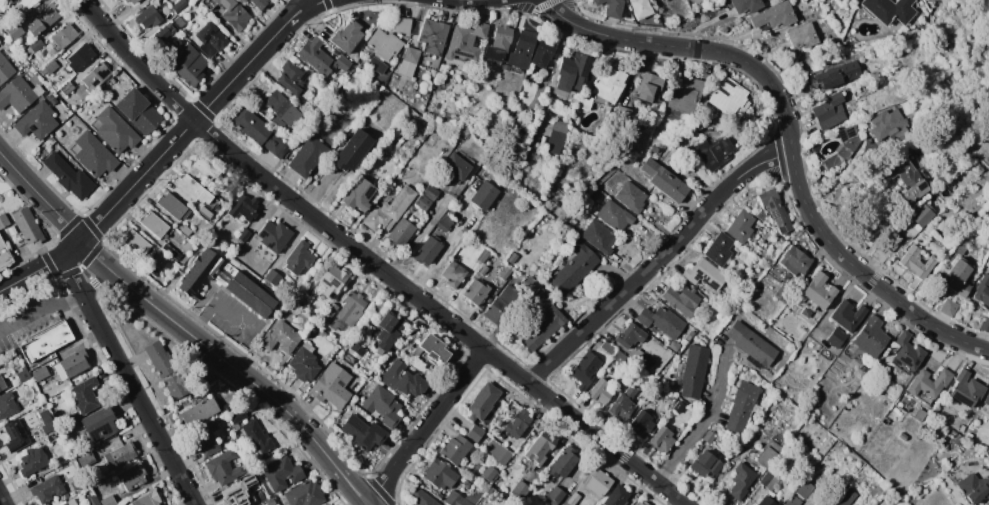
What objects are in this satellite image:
building: (126, 0)
building: (133, 1)
building: (840, 1)
building: (258, 3)
building: (746, 5)
building: (24, 6)
building: (179, 6)
road: (306, 7)
building: (611, 7)
building: (640, 8)
road: (294, 9)
building: (890, 10)
building: (230, 13)
building: (774, 15)
building: (148, 17)
building: (988, 17)
building: (44, 19)
building: (179, 22)
building: (402, 25)
building: (14, 30)
building: (433, 35)
building: (802, 35)
building: (64, 36)
building: (828, 36)
building: (162, 37)
building: (346, 37)
building: (210, 39)
building: (465, 41)
building: (831, 41)
building: (499, 42)
building: (385, 44)
building: (36, 45)
building: (988, 47)
building: (522, 49)
building: (542, 53)
building: (315, 55)
building: (80, 56)
building: (409, 61)
building: (342, 63)
building: (189, 65)
building: (376, 65)
building: (49, 67)
building: (5, 69)
building: (572, 72)
building: (838, 74)
building: (96, 76)
building: (291, 78)
building: (608, 84)
building: (648, 86)
building: (66, 89)
building: (686, 93)
building: (19, 94)
building: (730, 97)
building: (52, 99)
building: (584, 102)
building: (282, 110)
building: (138, 111)
building: (829, 112)
building: (36, 121)
building: (887, 124)
building: (115, 131)
building: (259, 131)
road: (182, 132)
building: (557, 136)
road: (792, 141)
building: (678, 145)
building: (842, 148)
building: (654, 149)
building: (352, 150)
building: (715, 152)
building: (94, 155)
building: (307, 156)
building: (671, 162)
building: (455, 166)
building: (894, 166)
building: (205, 168)
building: (69, 176)
building: (663, 180)
building: (911, 184)
building: (196, 191)
building: (594, 194)
building: (358, 195)
road: (41, 196)
building: (483, 196)
building: (631, 196)
building: (426, 198)
building: (937, 201)
building: (173, 207)
building: (244, 208)
building: (389, 210)
building: (775, 210)
building: (205, 213)
building: (582, 214)
building: (615, 216)
building: (3, 220)
building: (915, 222)
building: (444, 223)
building: (154, 225)
building: (27, 226)
building: (740, 226)
building: (186, 230)
building: (401, 232)
building: (764, 234)
building: (244, 235)
building: (274, 236)
building: (599, 237)
building: (136, 243)
building: (719, 249)
building: (427, 250)
building: (171, 251)
building: (880, 254)
building: (4, 256)
building: (483, 256)
building: (513, 257)
building: (298, 258)
road: (658, 260)
building: (794, 260)
road: (101, 262)
building: (917, 262)
road: (375, 263)
road: (435, 263)
road: (38, 269)
building: (573, 269)
building: (483, 270)
building: (505, 272)
building: (453, 274)
building: (704, 274)
building: (958, 276)
building: (272, 277)
road: (96, 278)
building: (332, 280)
building: (225, 283)
building: (530, 285)
building: (982, 290)
building: (475, 292)
building: (817, 292)
building: (783, 293)
road: (204, 296)
building: (297, 297)
road: (209, 300)
building: (682, 300)
building: (304, 302)
building: (500, 304)
building: (949, 307)
road: (39, 308)
building: (349, 310)
building: (328, 313)
building: (847, 315)
road: (186, 319)
road: (201, 319)
road: (234, 319)
building: (661, 320)
building: (984, 324)
building: (544, 329)
building: (388, 331)
building: (630, 335)
building: (690, 335)
building: (871, 336)
building: (837, 337)
building: (281, 338)
building: (46, 341)
building: (752, 344)
building: (357, 346)
building: (674, 346)
building: (433, 348)
building: (607, 348)
building: (908, 351)
building: (619, 357)
building: (640, 358)
building: (159, 359)
building: (304, 363)
building: (71, 365)
building: (585, 370)
building: (694, 371)
building: (40, 373)
building: (23, 374)
road: (127, 376)
building: (402, 379)
building: (2, 383)
road: (255, 384)
building: (928, 384)
building: (175, 386)
building: (332, 386)
building: (965, 389)
building: (600, 392)
building: (85, 395)
building: (672, 398)
building: (986, 399)
building: (482, 402)
building: (7, 405)
building: (382, 405)
building: (623, 405)
building: (678, 407)
building: (741, 407)
building: (198, 412)
building: (374, 414)
building: (920, 415)
building: (236, 419)
road: (704, 421)
building: (47, 422)
building: (516, 424)
building: (641, 424)
building: (99, 425)
road: (426, 427)
building: (362, 432)
building: (475, 433)
building: (15, 436)
building: (902, 436)
building: (54, 437)
building: (708, 437)
building: (794, 437)
building: (207, 438)
building: (257, 438)
building: (662, 439)
building: (802, 440)
building: (957, 440)
building: (455, 449)
building: (538, 450)
building: (498, 452)
building: (768, 452)
building: (120, 455)
building: (32, 461)
building: (564, 463)
building: (705, 464)
building: (223, 468)
building: (281, 473)
building: (489, 473)
building: (440, 474)
building: (132, 476)
building: (741, 480)
building: (769, 481)
building: (599, 482)
building: (973, 488)
building: (47, 489)
building: (520, 490)
building: (238, 491)
building: (800, 493)
building: (304, 494)
building: (493, 494)
building: (555, 496)
building: (617, 496)
building: (844, 497)
building: (420, 498)
building: (473, 498)
building: (147, 499)
building: (454, 499)
road: (2, 500)
building: (93, 500)
building: (108, 500)
building: (271, 501)
building: (766, 501)
building: (68, 502)
building: (640, 503)

